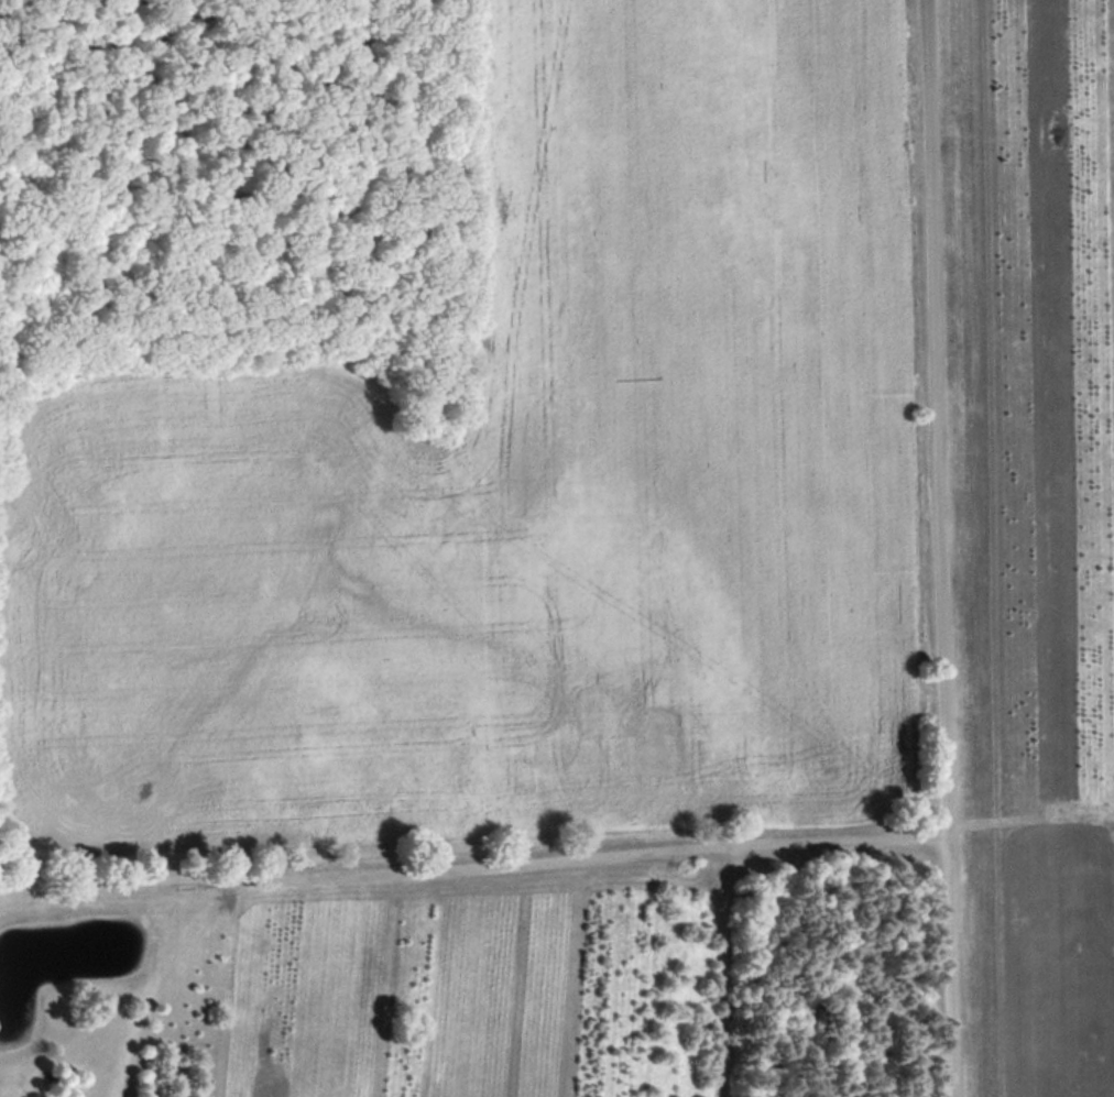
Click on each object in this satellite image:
road: (937, 548)

